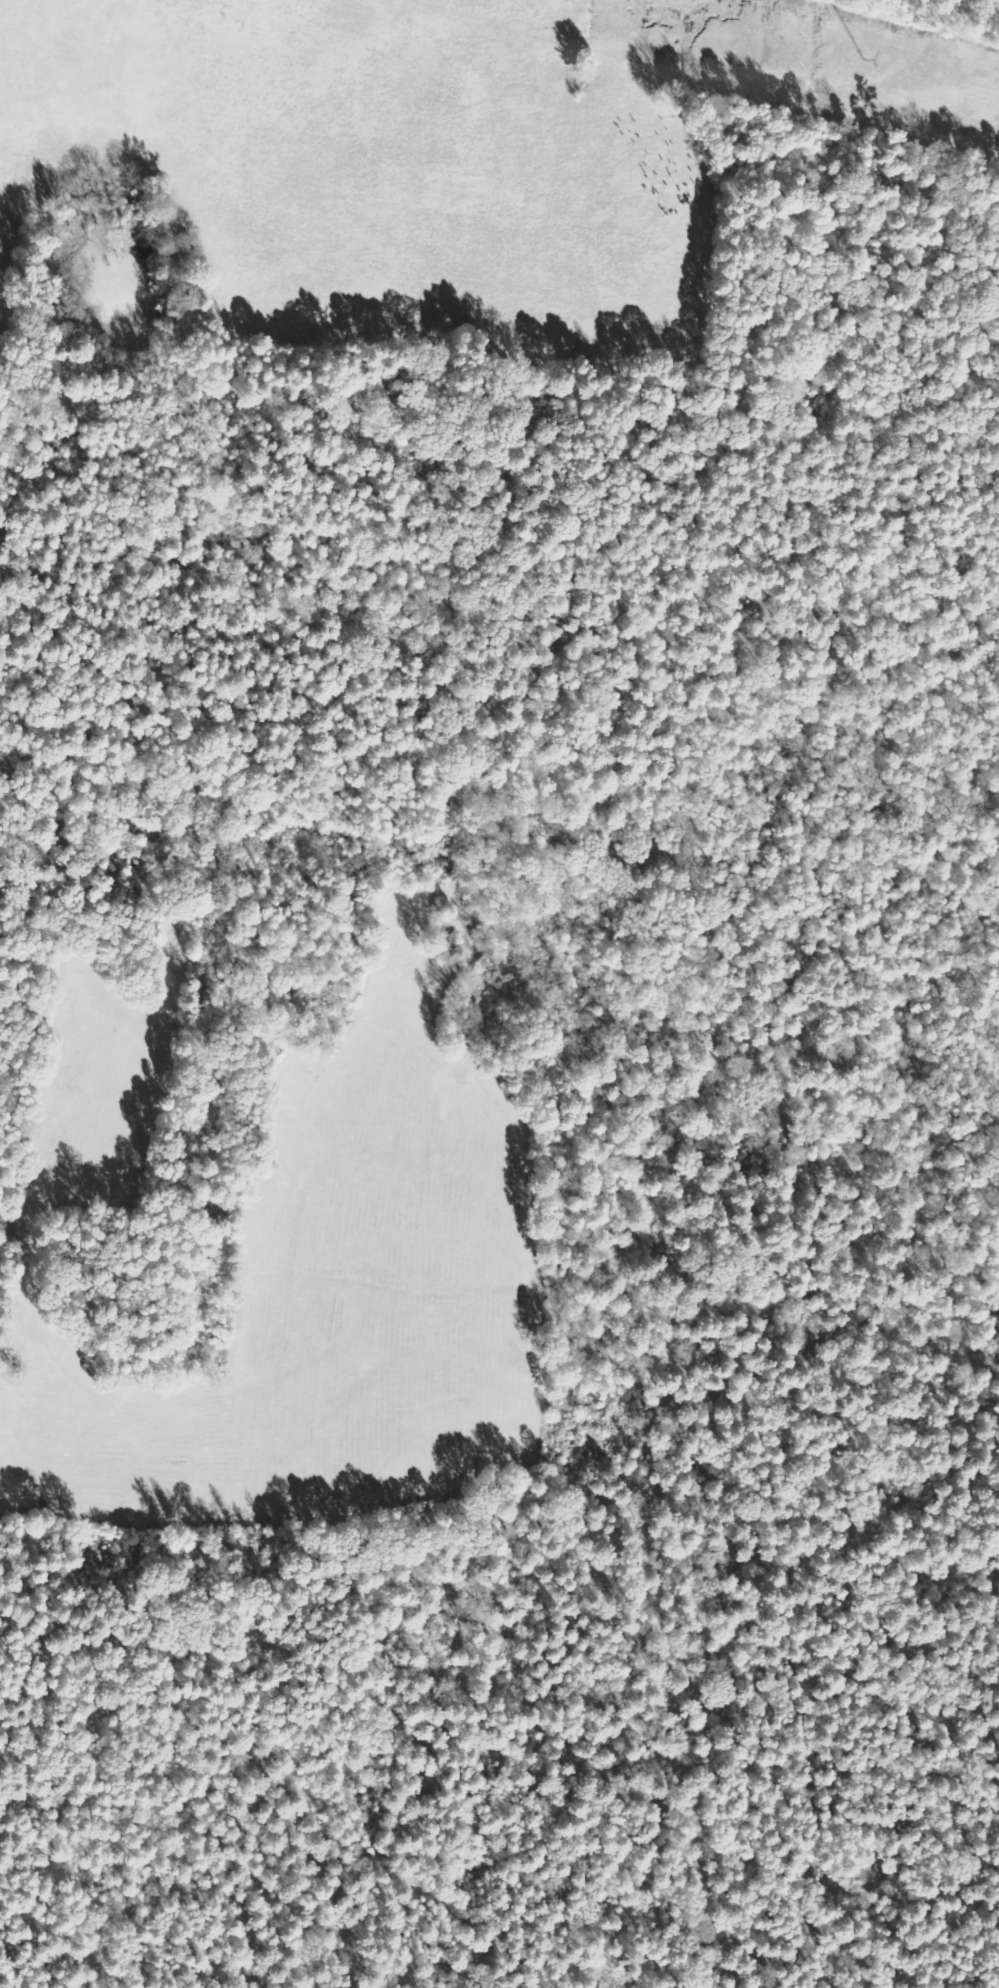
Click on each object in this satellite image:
power tower: (861, 57)

